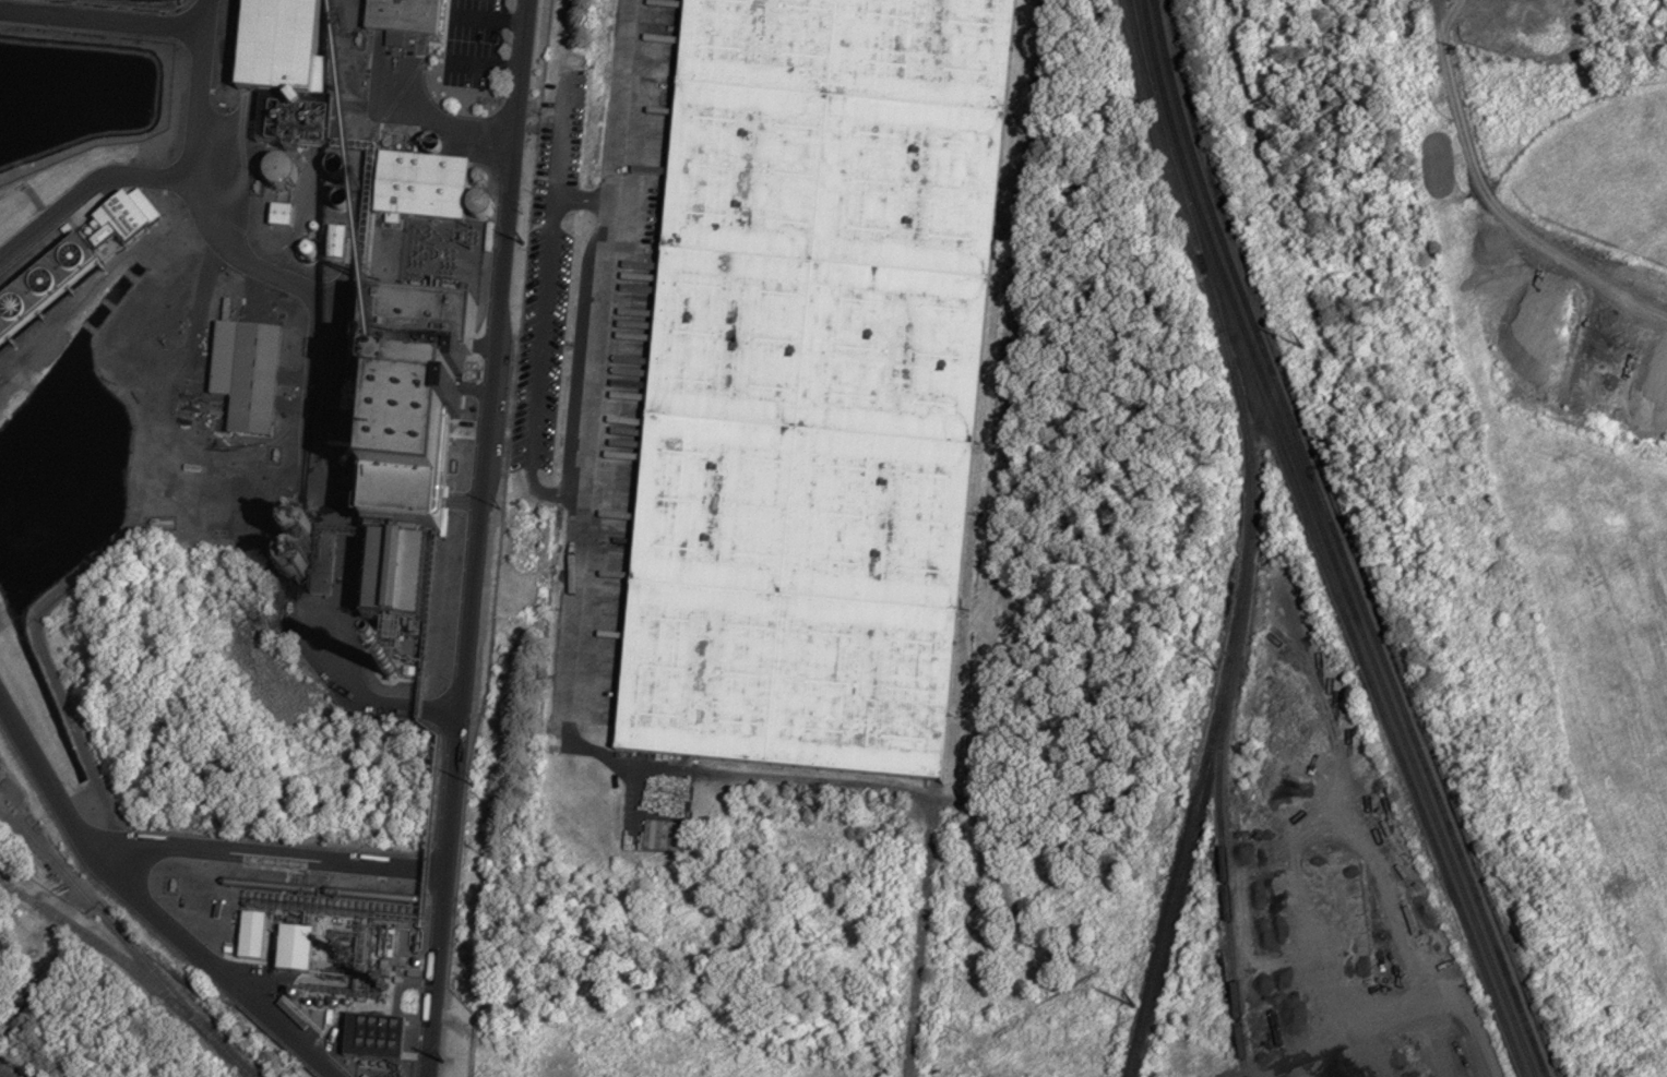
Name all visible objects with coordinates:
building: (403, 16)
road: (102, 20)
road: (489, 20)
road: (485, 68)
building: (285, 71)
road: (419, 121)
building: (421, 187)
road: (85, 191)
road: (588, 201)
road: (551, 243)
power substation: (442, 259)
road: (250, 262)
building: (75, 265)
road: (607, 358)
building: (246, 375)
building: (815, 383)
building: (410, 402)
power plant: (263, 483)
railway: (1251, 537)
road: (476, 538)
railway: (1327, 542)
railway: (1339, 542)
building: (392, 582)
chimney: (388, 667)
road: (270, 857)
railway: (1224, 874)
road: (145, 907)
building: (1300, 923)
railway: (921, 929)
railway: (124, 940)
building: (311, 946)
railway: (107, 948)
road: (1448, 964)

